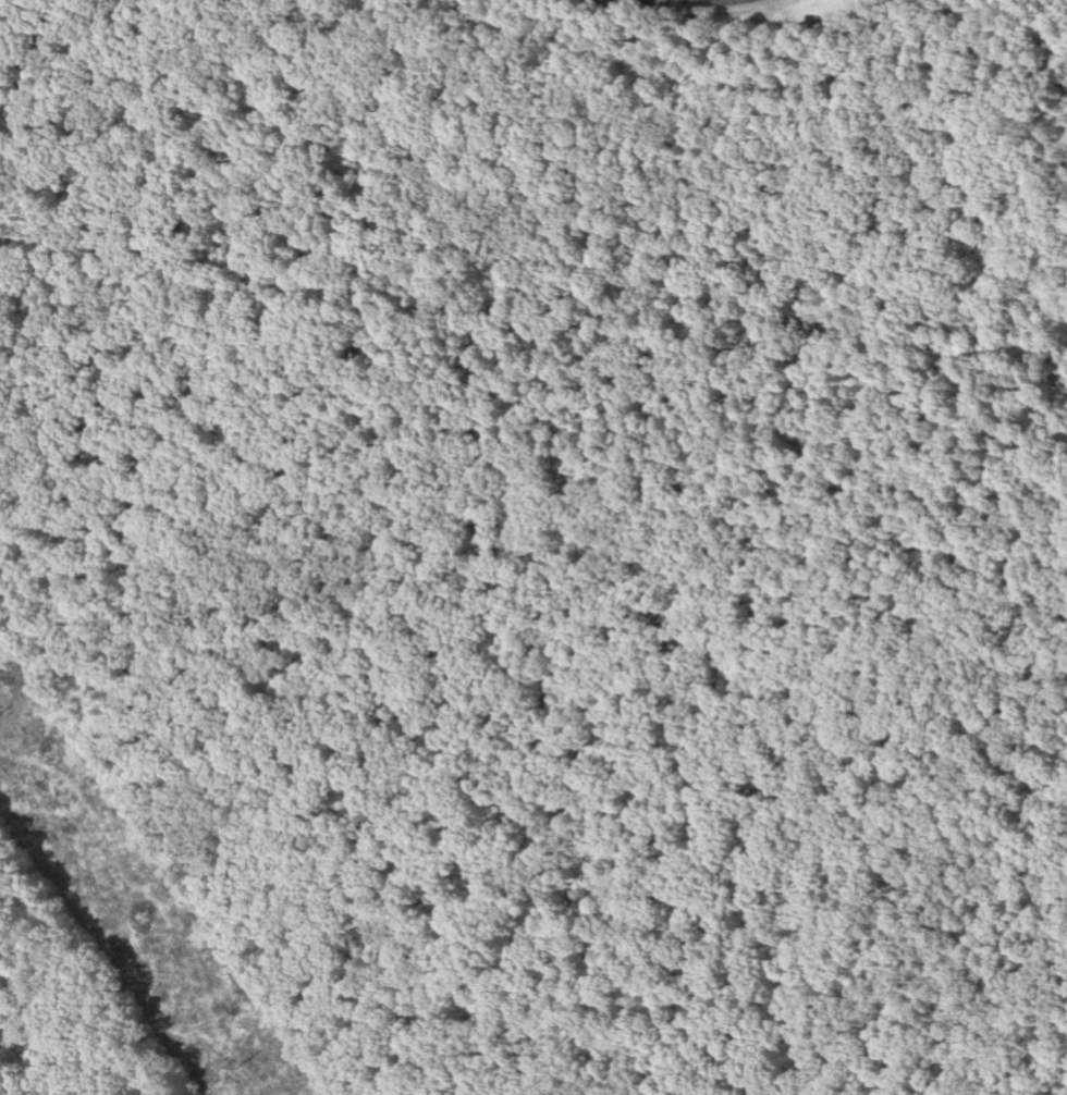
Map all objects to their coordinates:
road: (691, 3)

